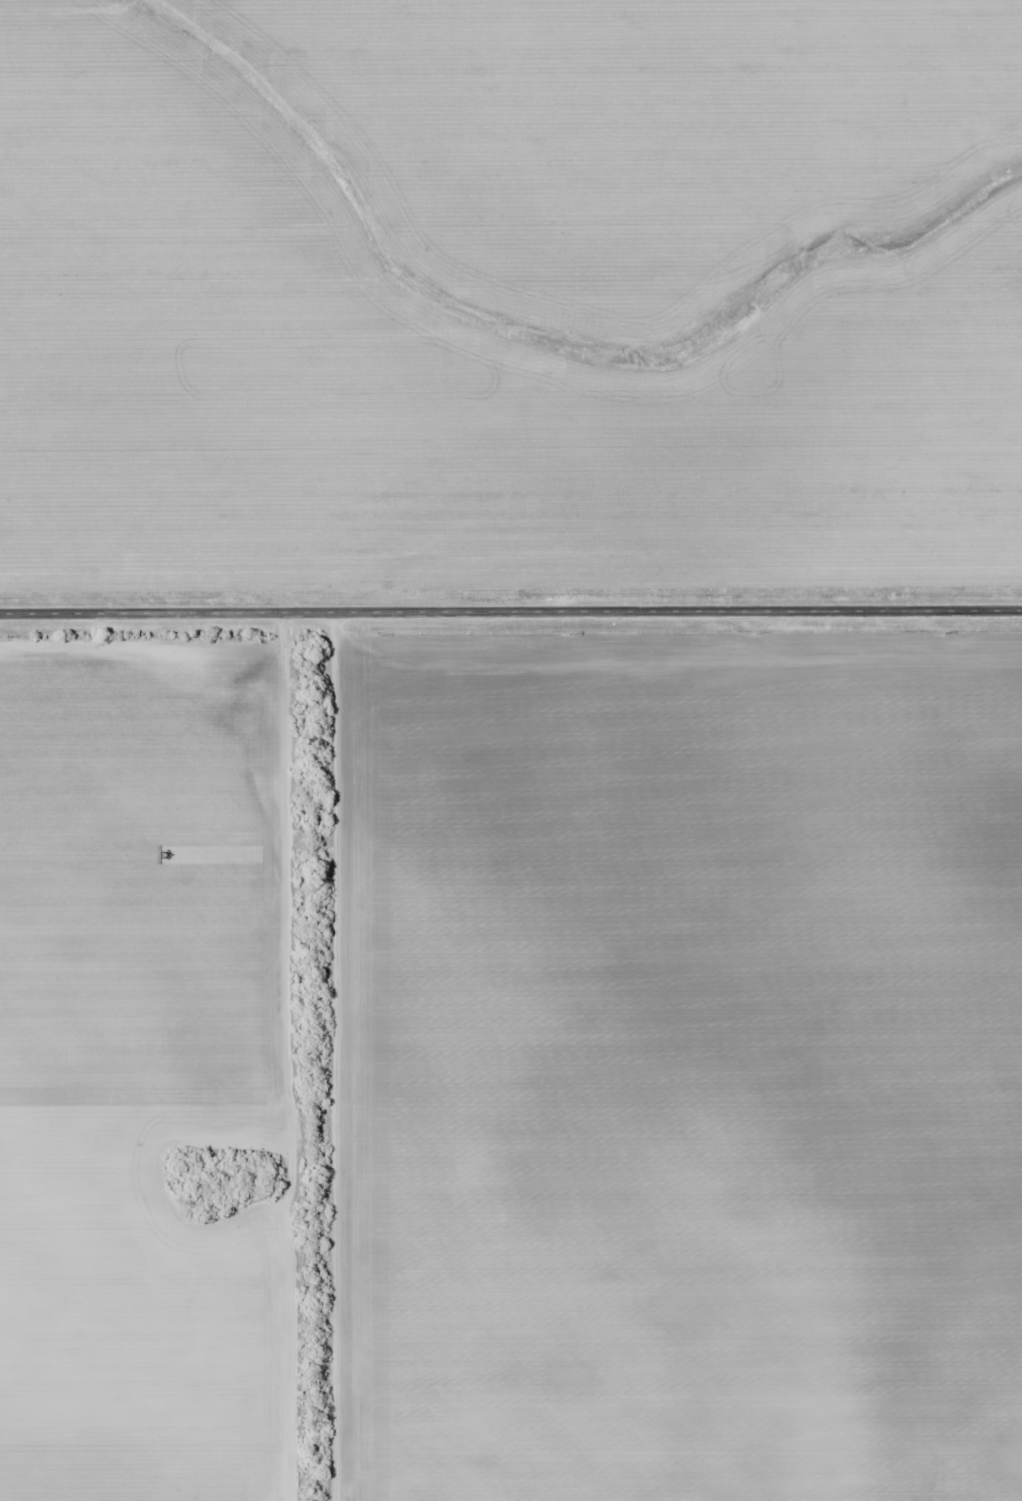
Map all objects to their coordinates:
road: (511, 610)

